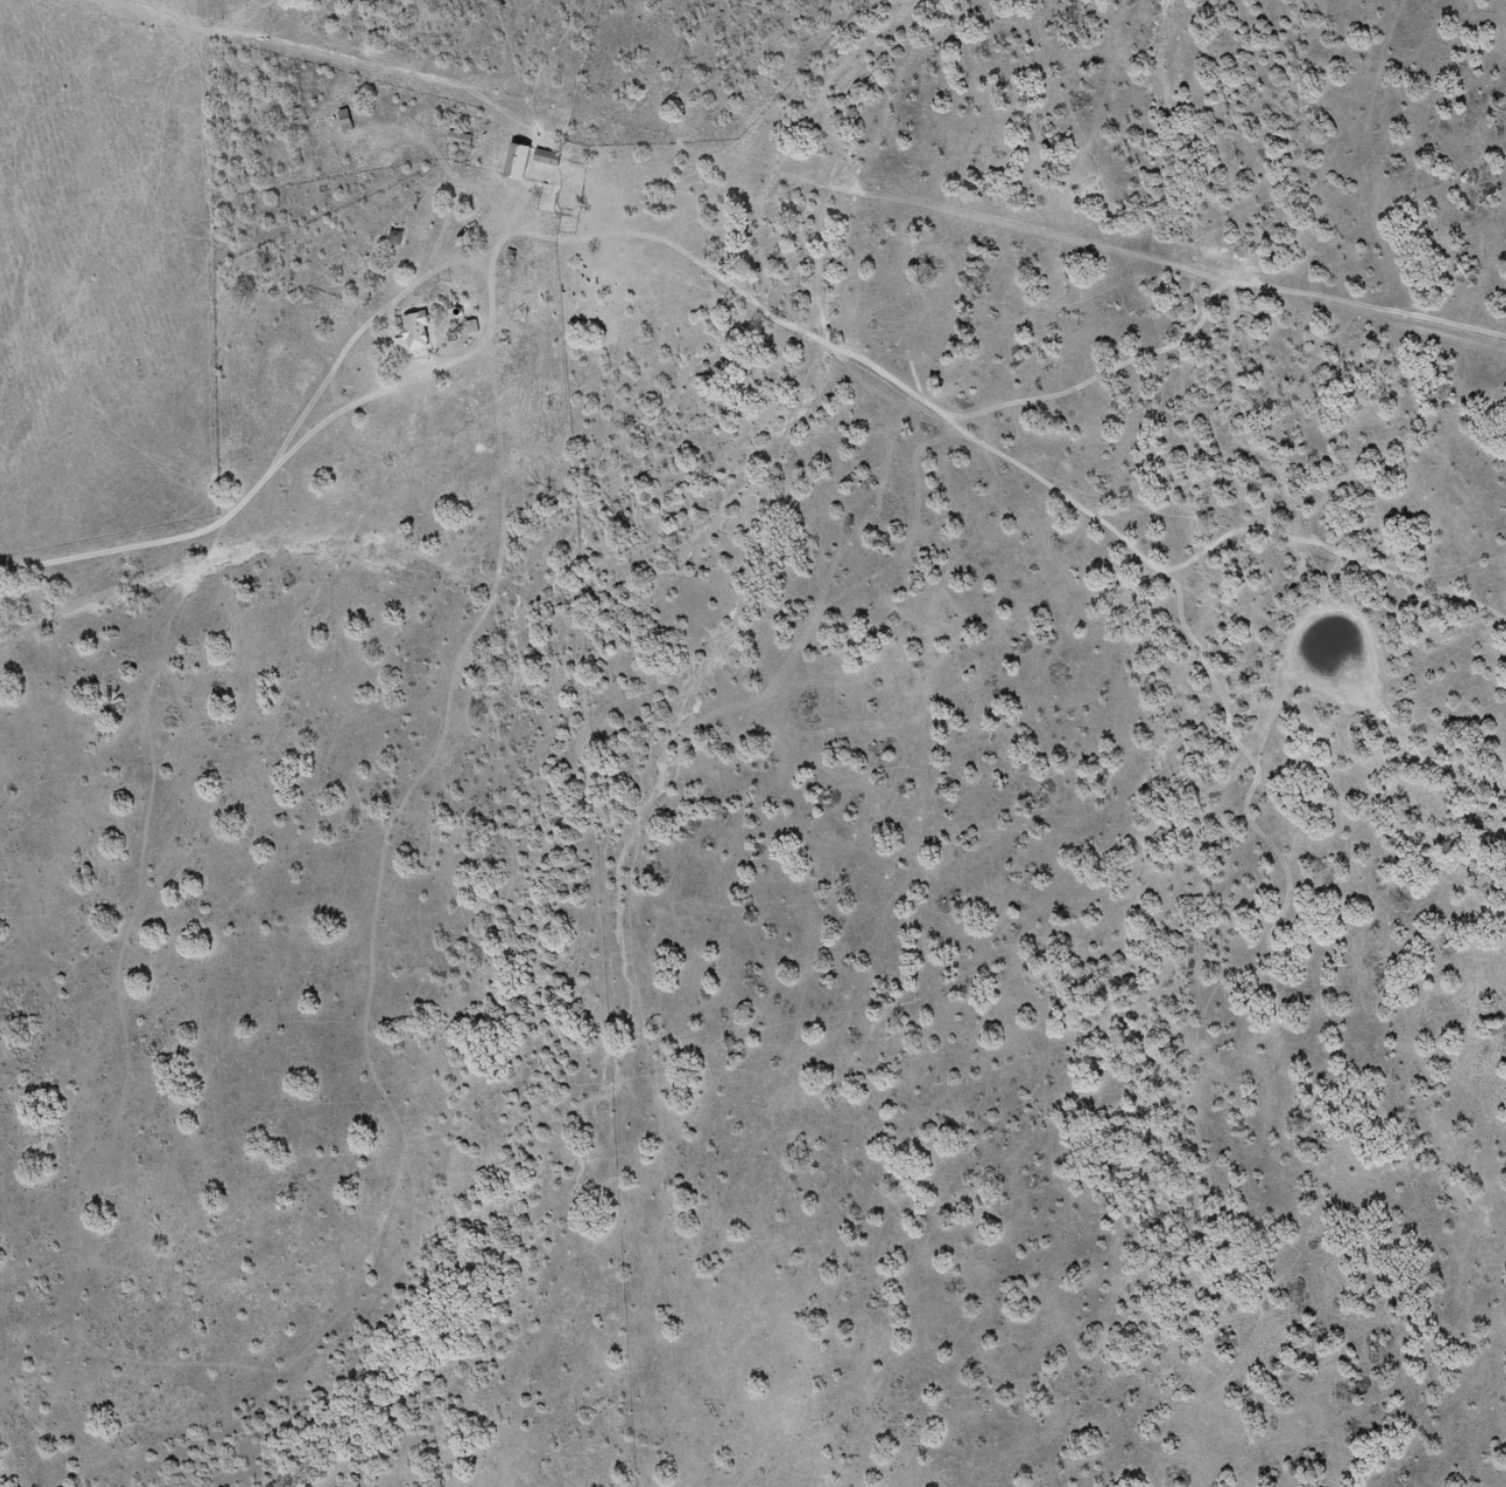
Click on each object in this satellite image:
building: (345, 120)
building: (459, 138)
building: (547, 157)
building: (517, 161)
building: (395, 237)
building: (413, 334)
road: (288, 517)

